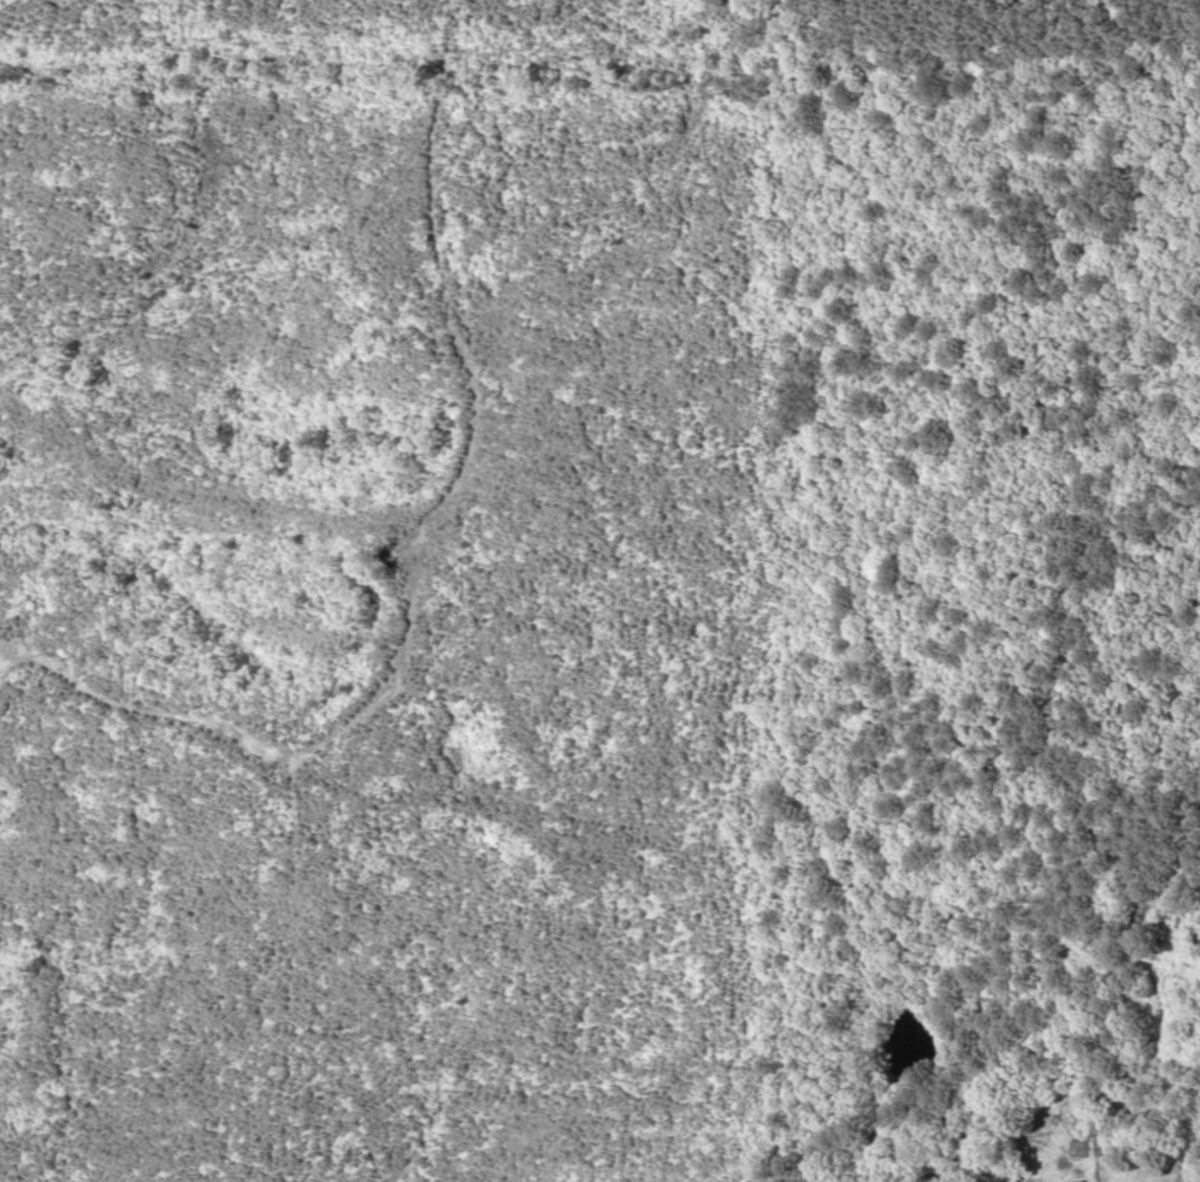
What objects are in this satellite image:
building: (1083, 1147)

